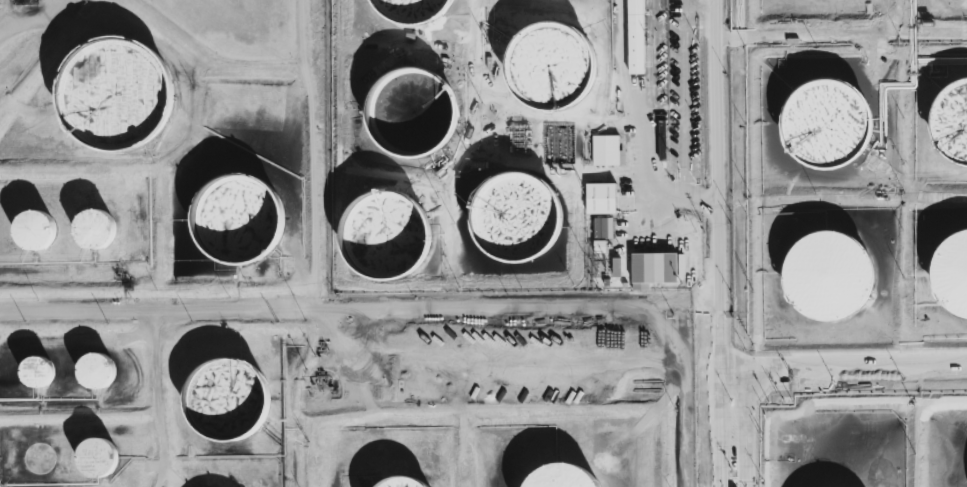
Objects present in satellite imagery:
road: (684, 4)
road: (703, 7)
building: (408, 12)
storage tank: (408, 12)
building: (636, 37)
building: (548, 68)
storage tank: (548, 68)
road: (683, 93)
building: (114, 94)
storage tank: (114, 94)
building: (411, 114)
storage tank: (411, 114)
building: (950, 125)
storage tank: (950, 125)
building: (823, 128)
storage tank: (823, 128)
building: (605, 150)
building: (601, 198)
road: (697, 200)
building: (514, 221)
storage tank: (514, 221)
building: (236, 223)
storage tank: (236, 223)
building: (96, 231)
storage tank: (96, 231)
building: (34, 232)
storage tank: (34, 232)
building: (381, 239)
storage tank: (381, 239)
road: (725, 243)
building: (599, 246)
building: (616, 267)
building: (653, 269)
building: (950, 277)
storage tank: (950, 277)
building: (826, 280)
storage tank: (826, 280)
road: (334, 355)
road: (847, 358)
building: (95, 374)
storage tank: (95, 374)
building: (34, 376)
storage tank: (34, 376)
railway: (700, 396)
building: (227, 403)
storage tank: (227, 403)
building: (95, 460)
storage tank: (95, 460)
building: (36, 462)
storage tank: (36, 462)
building: (562, 479)
storage tank: (562, 479)
building: (401, 484)
storage tank: (401, 484)

